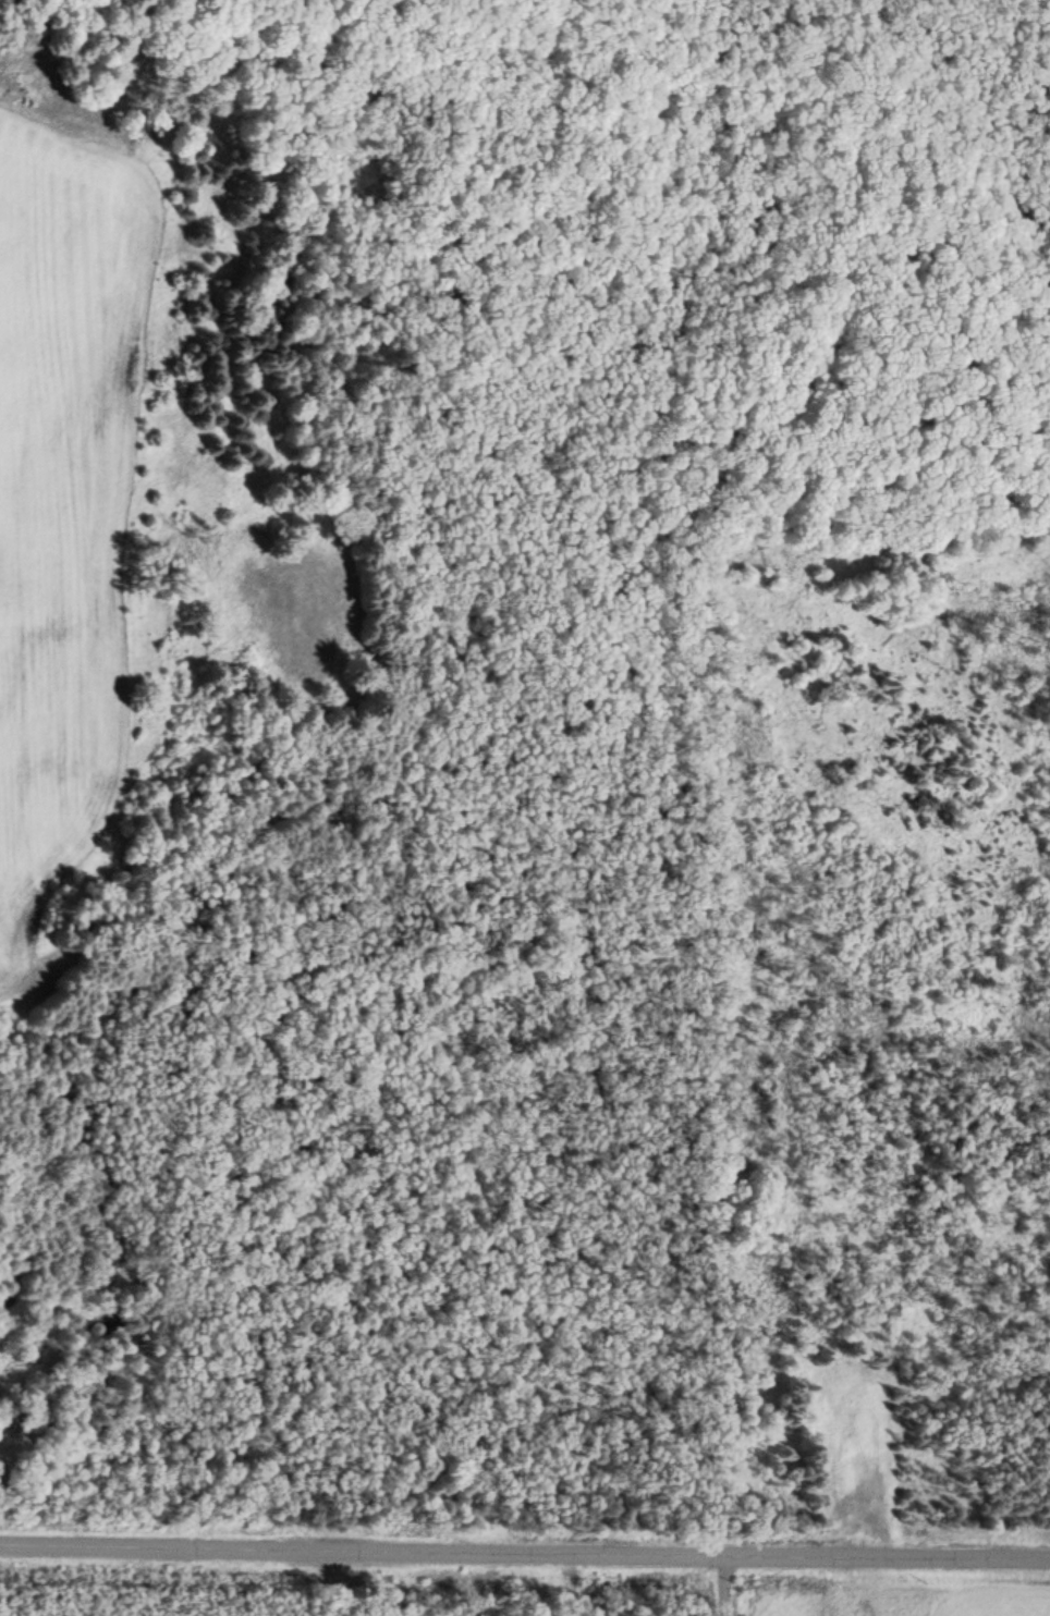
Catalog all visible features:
road: (524, 1555)

